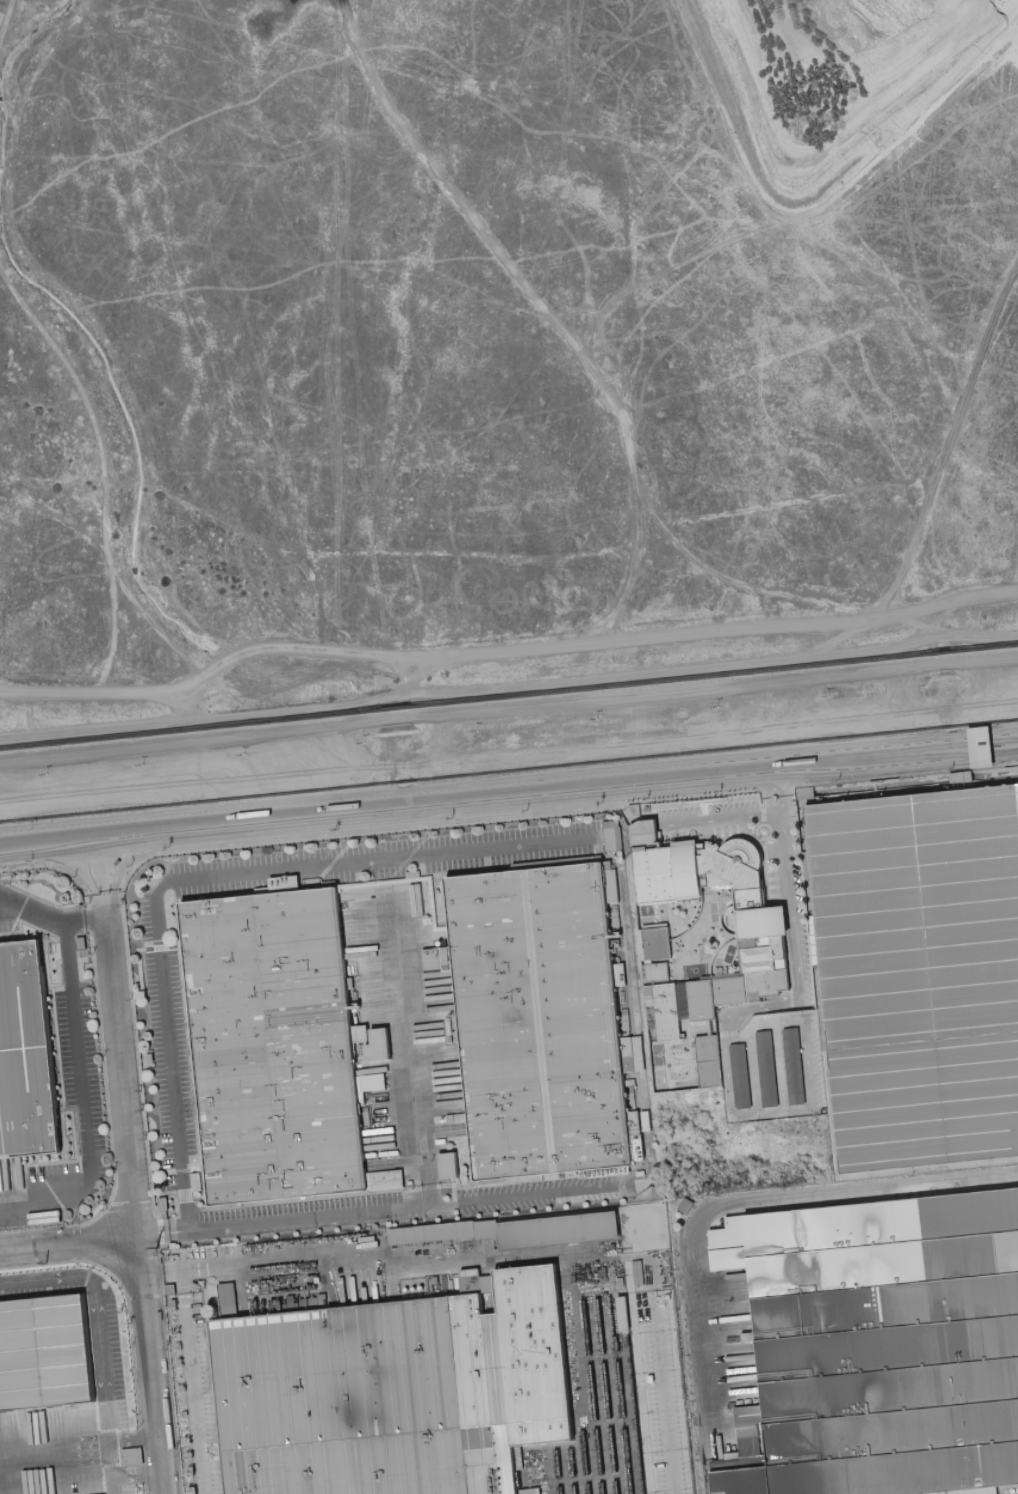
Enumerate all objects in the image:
road: (8, 22)
road: (588, 194)
road: (804, 286)
road: (537, 307)
road: (949, 441)
road: (100, 464)
road: (750, 590)
road: (505, 648)
road: (509, 686)
road: (508, 704)
road: (509, 758)
road: (889, 758)
road: (775, 789)
road: (380, 808)
road: (626, 812)
road: (721, 816)
parking lot: (708, 818)
road: (346, 831)
building: (611, 839)
building: (808, 848)
parking lot: (371, 857)
road: (101, 868)
road: (203, 877)
parking lot: (789, 891)
building: (812, 895)
road: (32, 909)
road: (86, 922)
building: (82, 943)
road: (796, 954)
building: (819, 958)
building: (921, 970)
building: (824, 1005)
building: (543, 1019)
road: (779, 1020)
building: (455, 1029)
road: (737, 1035)
building: (278, 1043)
parking lot: (166, 1047)
road: (410, 1052)
building: (25, 1056)
building: (151, 1058)
road: (813, 1062)
road: (782, 1065)
building: (794, 1066)
parking lot: (773, 1067)
road: (753, 1068)
building: (767, 1069)
road: (728, 1076)
building: (831, 1077)
building: (742, 1078)
building: (375, 1081)
road: (85, 1097)
building: (634, 1098)
road: (774, 1111)
building: (466, 1116)
parking lot: (63, 1121)
building: (838, 1147)
building: (623, 1174)
parking lot: (547, 1191)
building: (659, 1191)
road: (135, 1197)
building: (164, 1202)
building: (687, 1206)
road: (401, 1208)
road: (715, 1209)
parking lot: (300, 1215)
building: (507, 1225)
building: (437, 1231)
road: (163, 1234)
building: (231, 1241)
road: (69, 1244)
power tower: (157, 1245)
building: (175, 1245)
road: (397, 1259)
power tower: (46, 1261)
building: (436, 1279)
building: (171, 1289)
building: (228, 1297)
building: (298, 1304)
road: (98, 1313)
parking lot: (94, 1334)
building: (884, 1347)
building: (46, 1348)
power tower: (167, 1349)
road: (192, 1380)
road: (660, 1381)
parking lot: (663, 1392)
parking lot: (207, 1394)
building: (360, 1398)
power tower: (175, 1448)
building: (132, 1457)
parking lot: (136, 1493)

